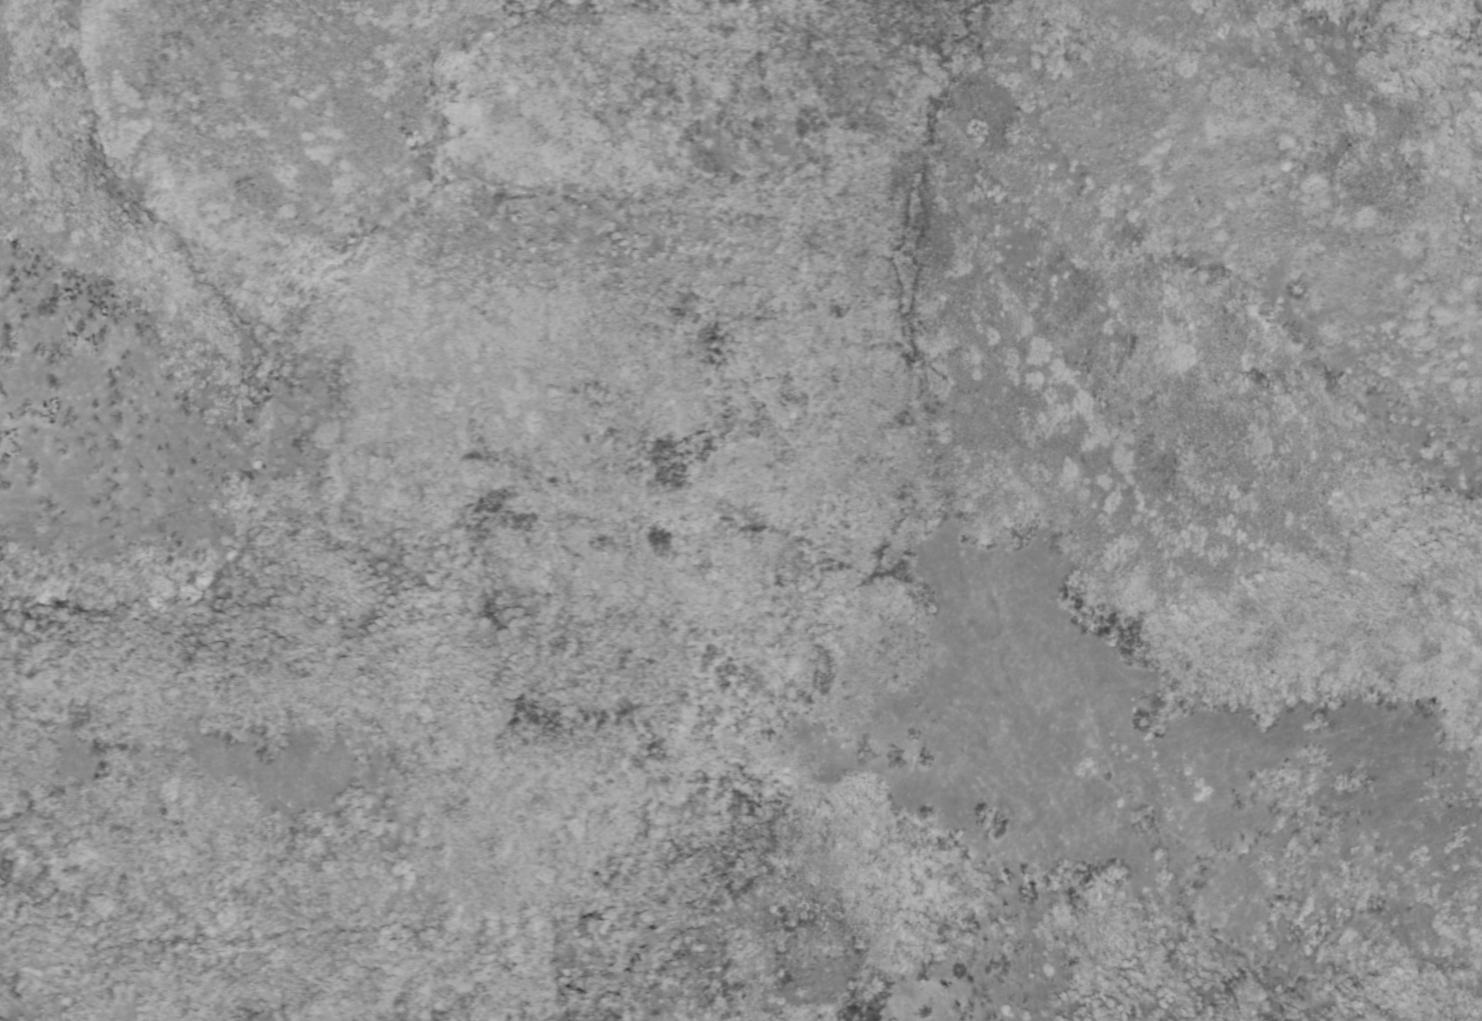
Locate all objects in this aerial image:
road: (4, 336)

